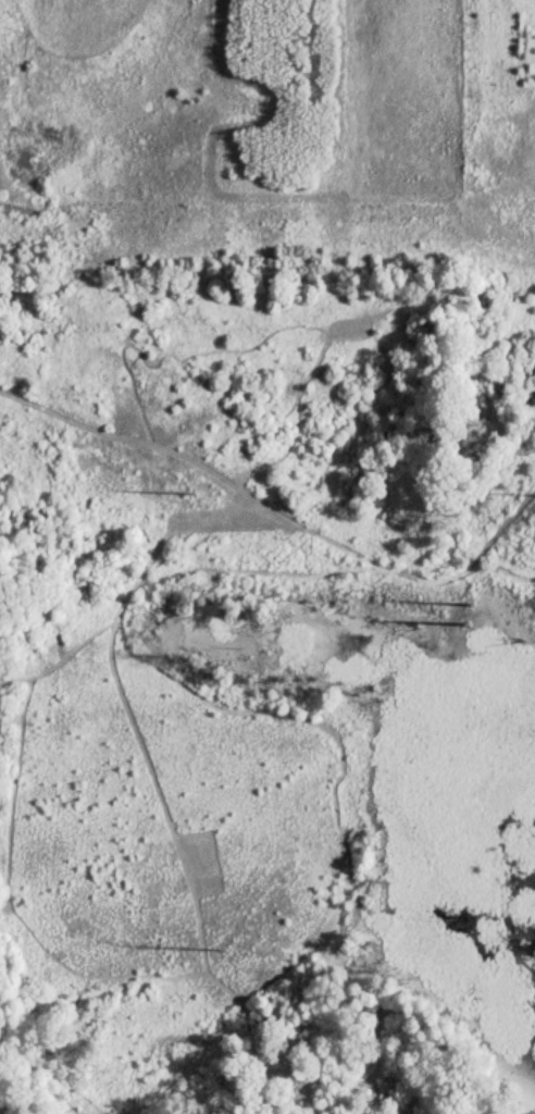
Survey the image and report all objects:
power tower: (190, 495)
power tower: (473, 606)
power tower: (461, 624)
power tower: (222, 950)

